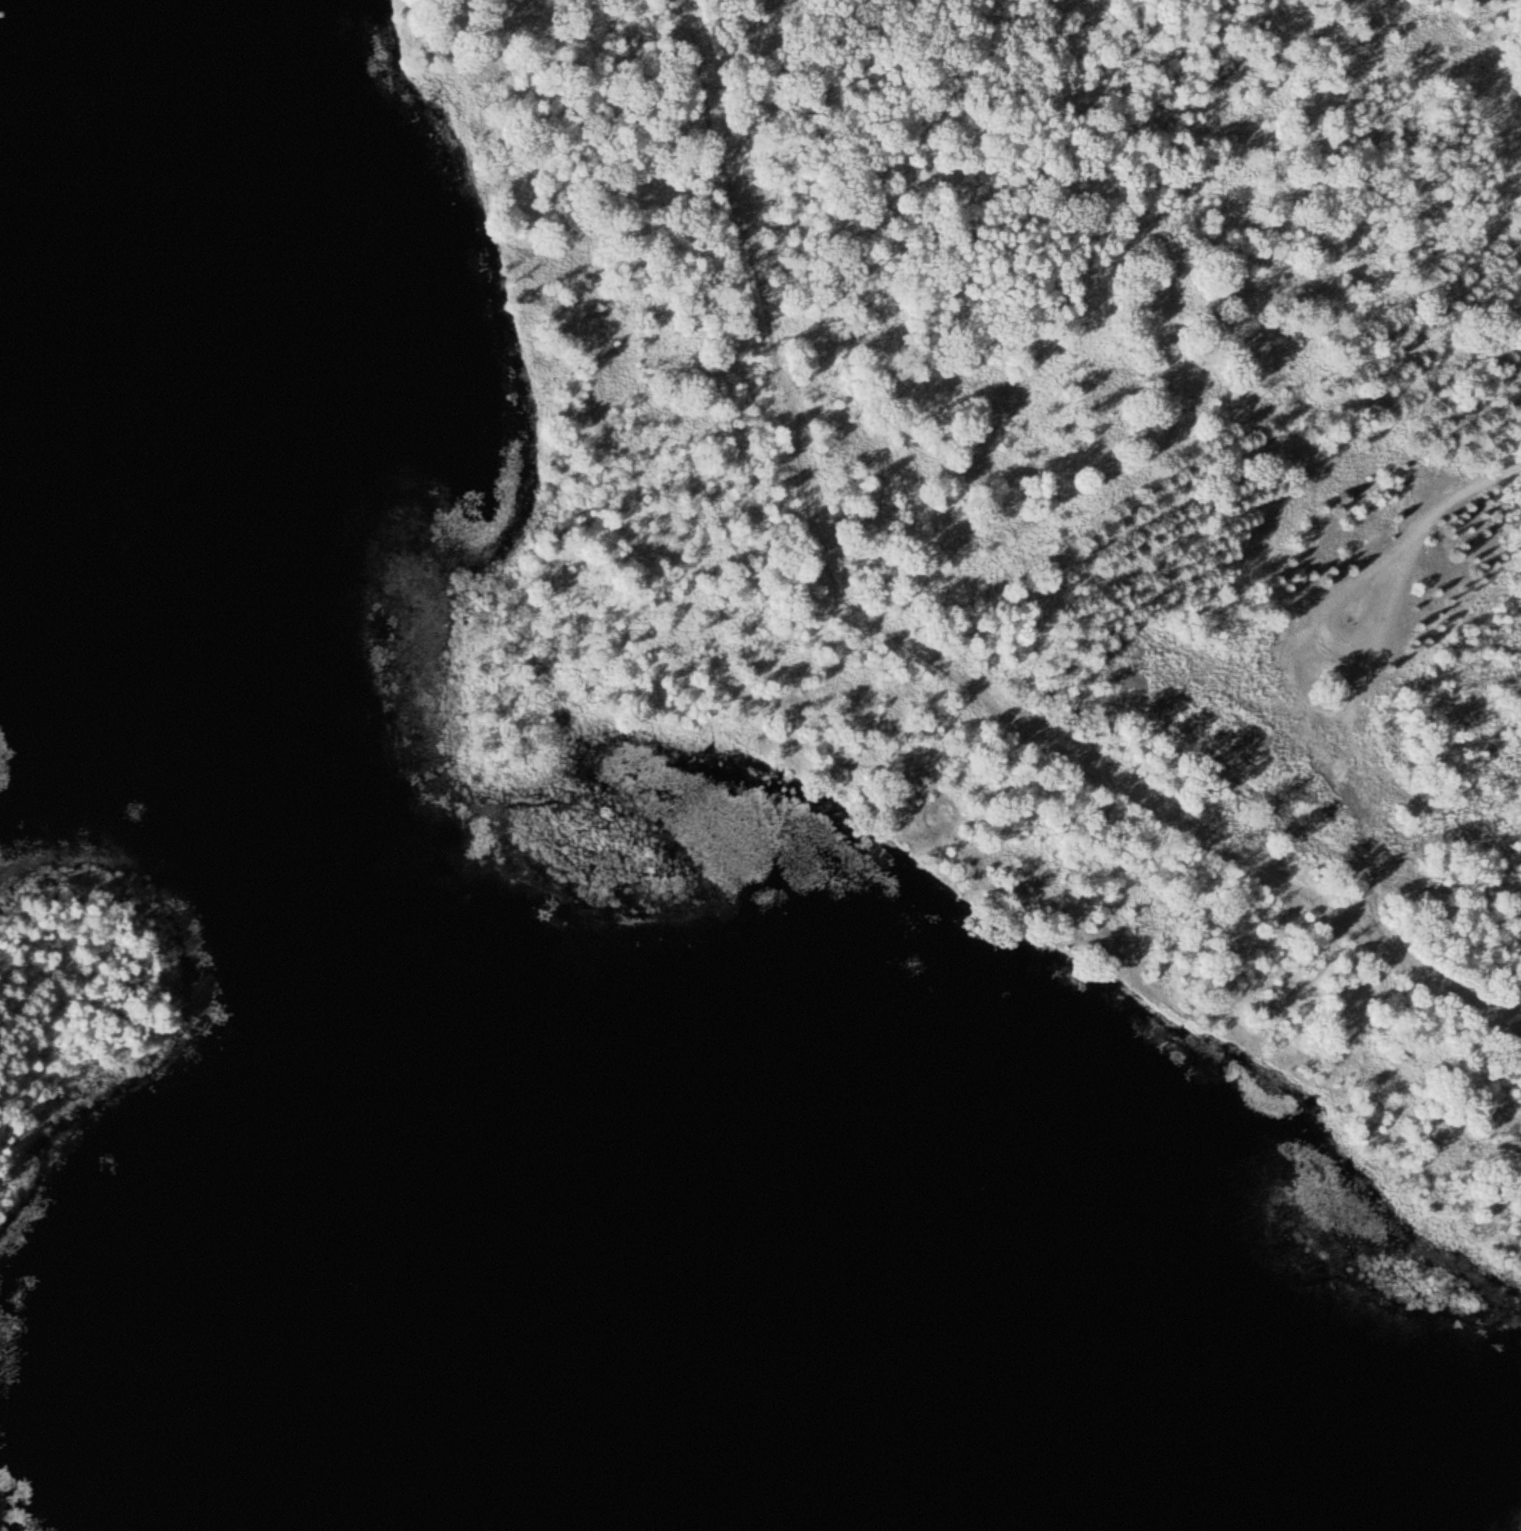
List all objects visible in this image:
road: (1436, 519)

